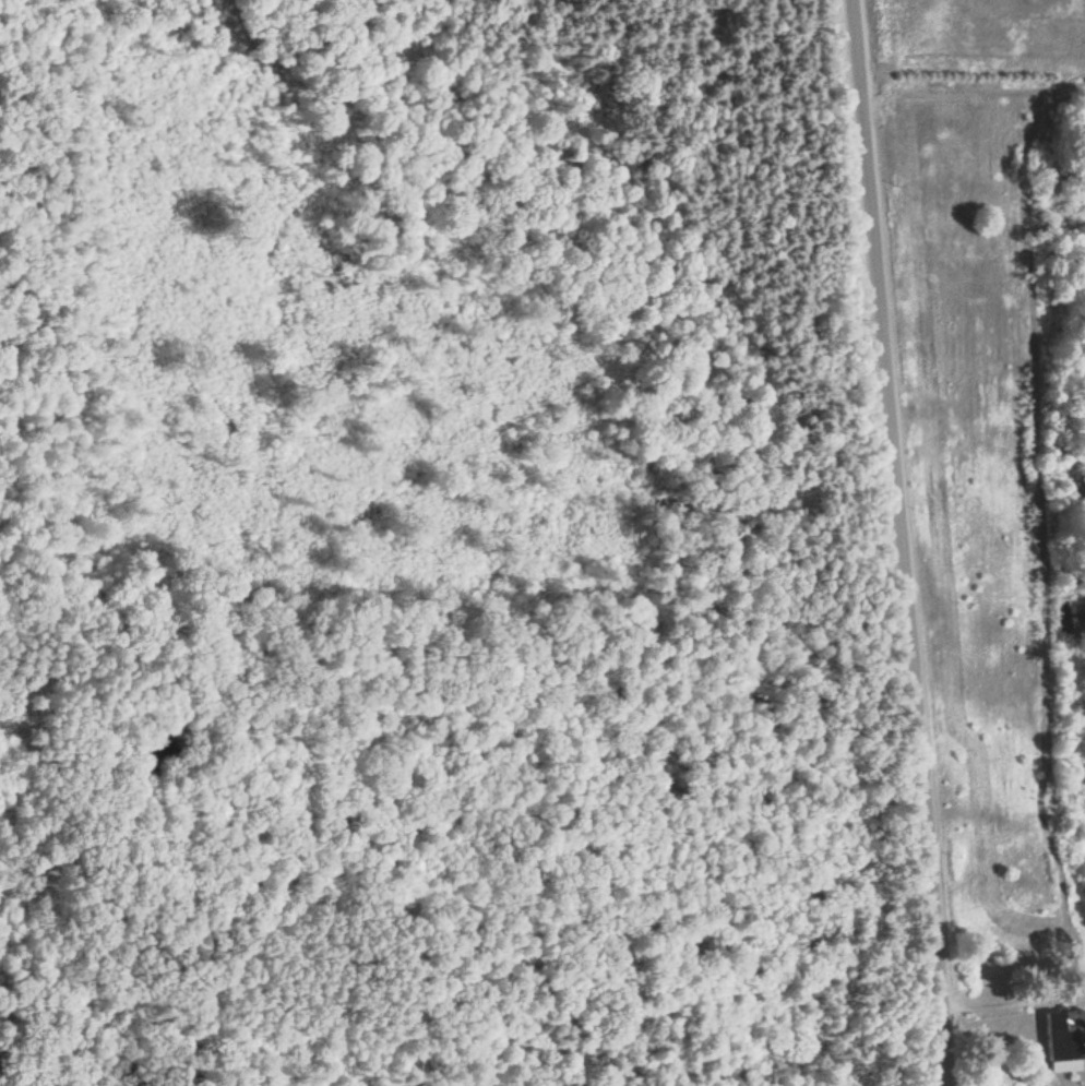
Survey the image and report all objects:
road: (893, 542)
building: (1066, 1035)

